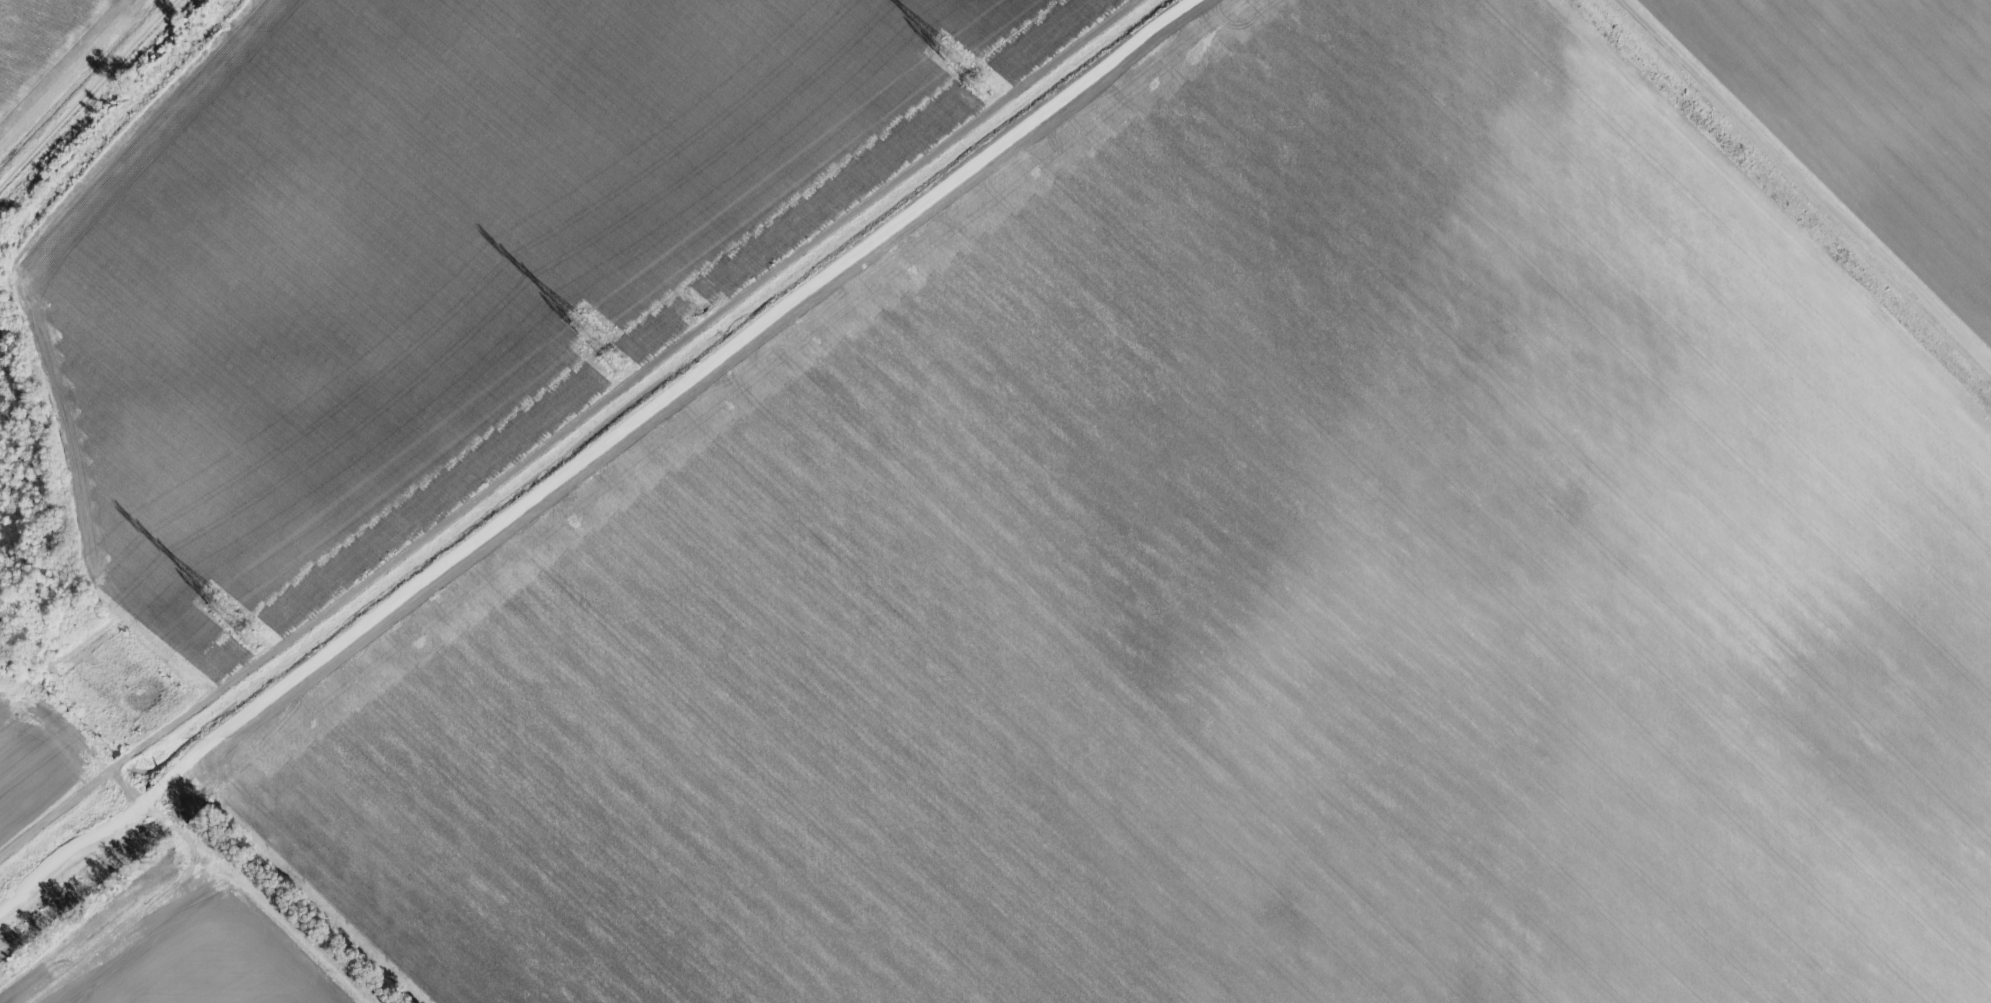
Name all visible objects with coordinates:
power tower: (951, 53)
power tower: (975, 86)
power tower: (587, 330)
power tower: (612, 363)
railway: (579, 447)
power tower: (224, 605)
power tower: (248, 638)

